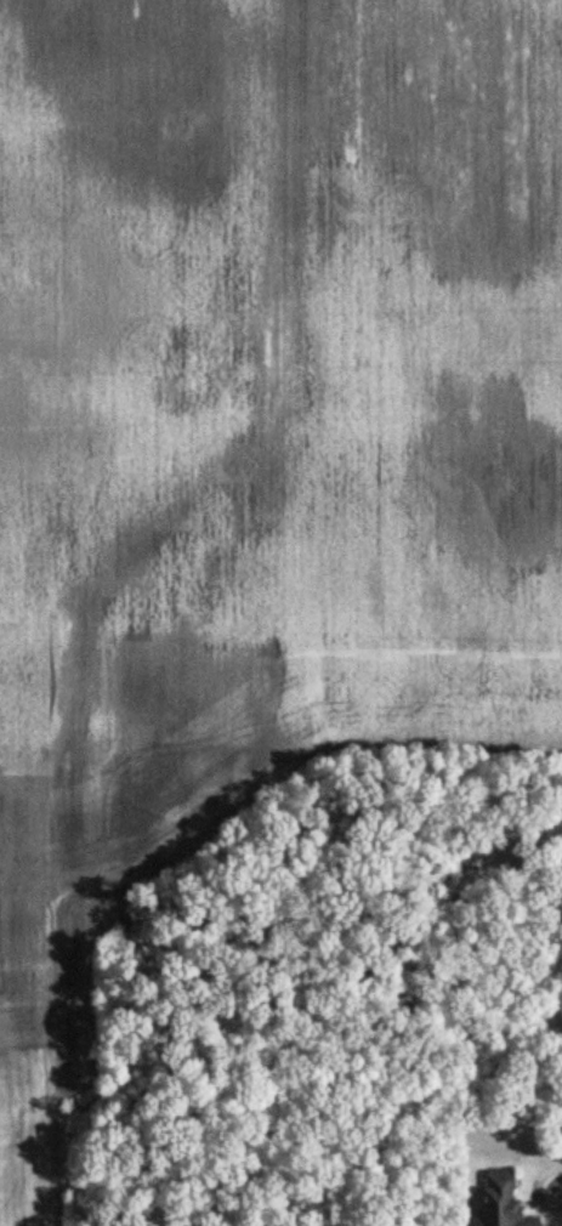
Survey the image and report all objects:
building: (498, 1201)

